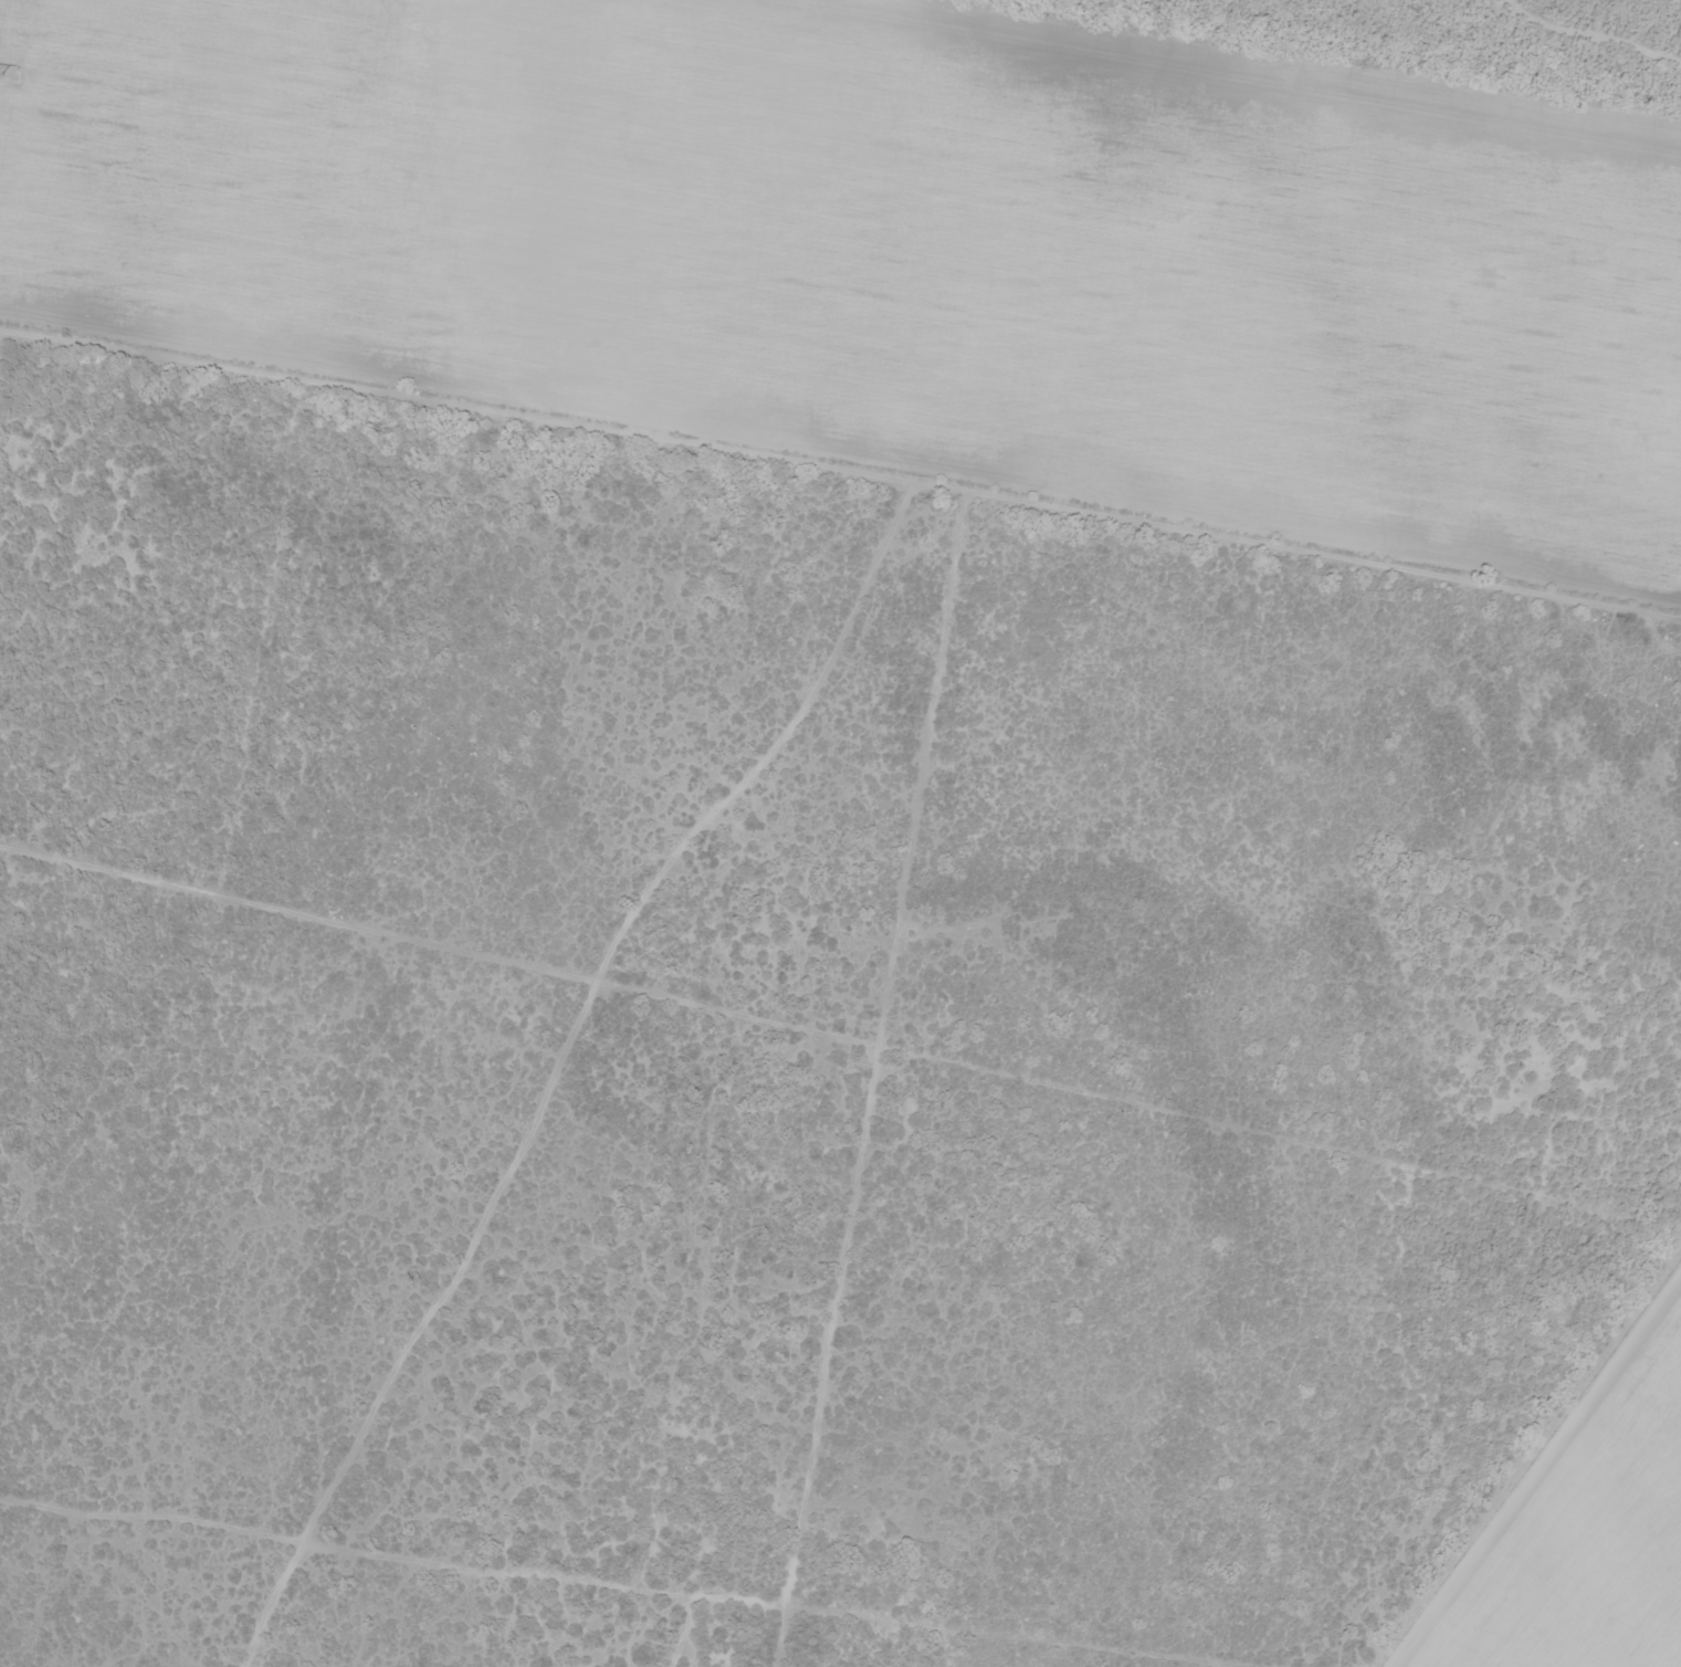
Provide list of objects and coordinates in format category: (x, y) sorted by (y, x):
road: (1516, 1440)

